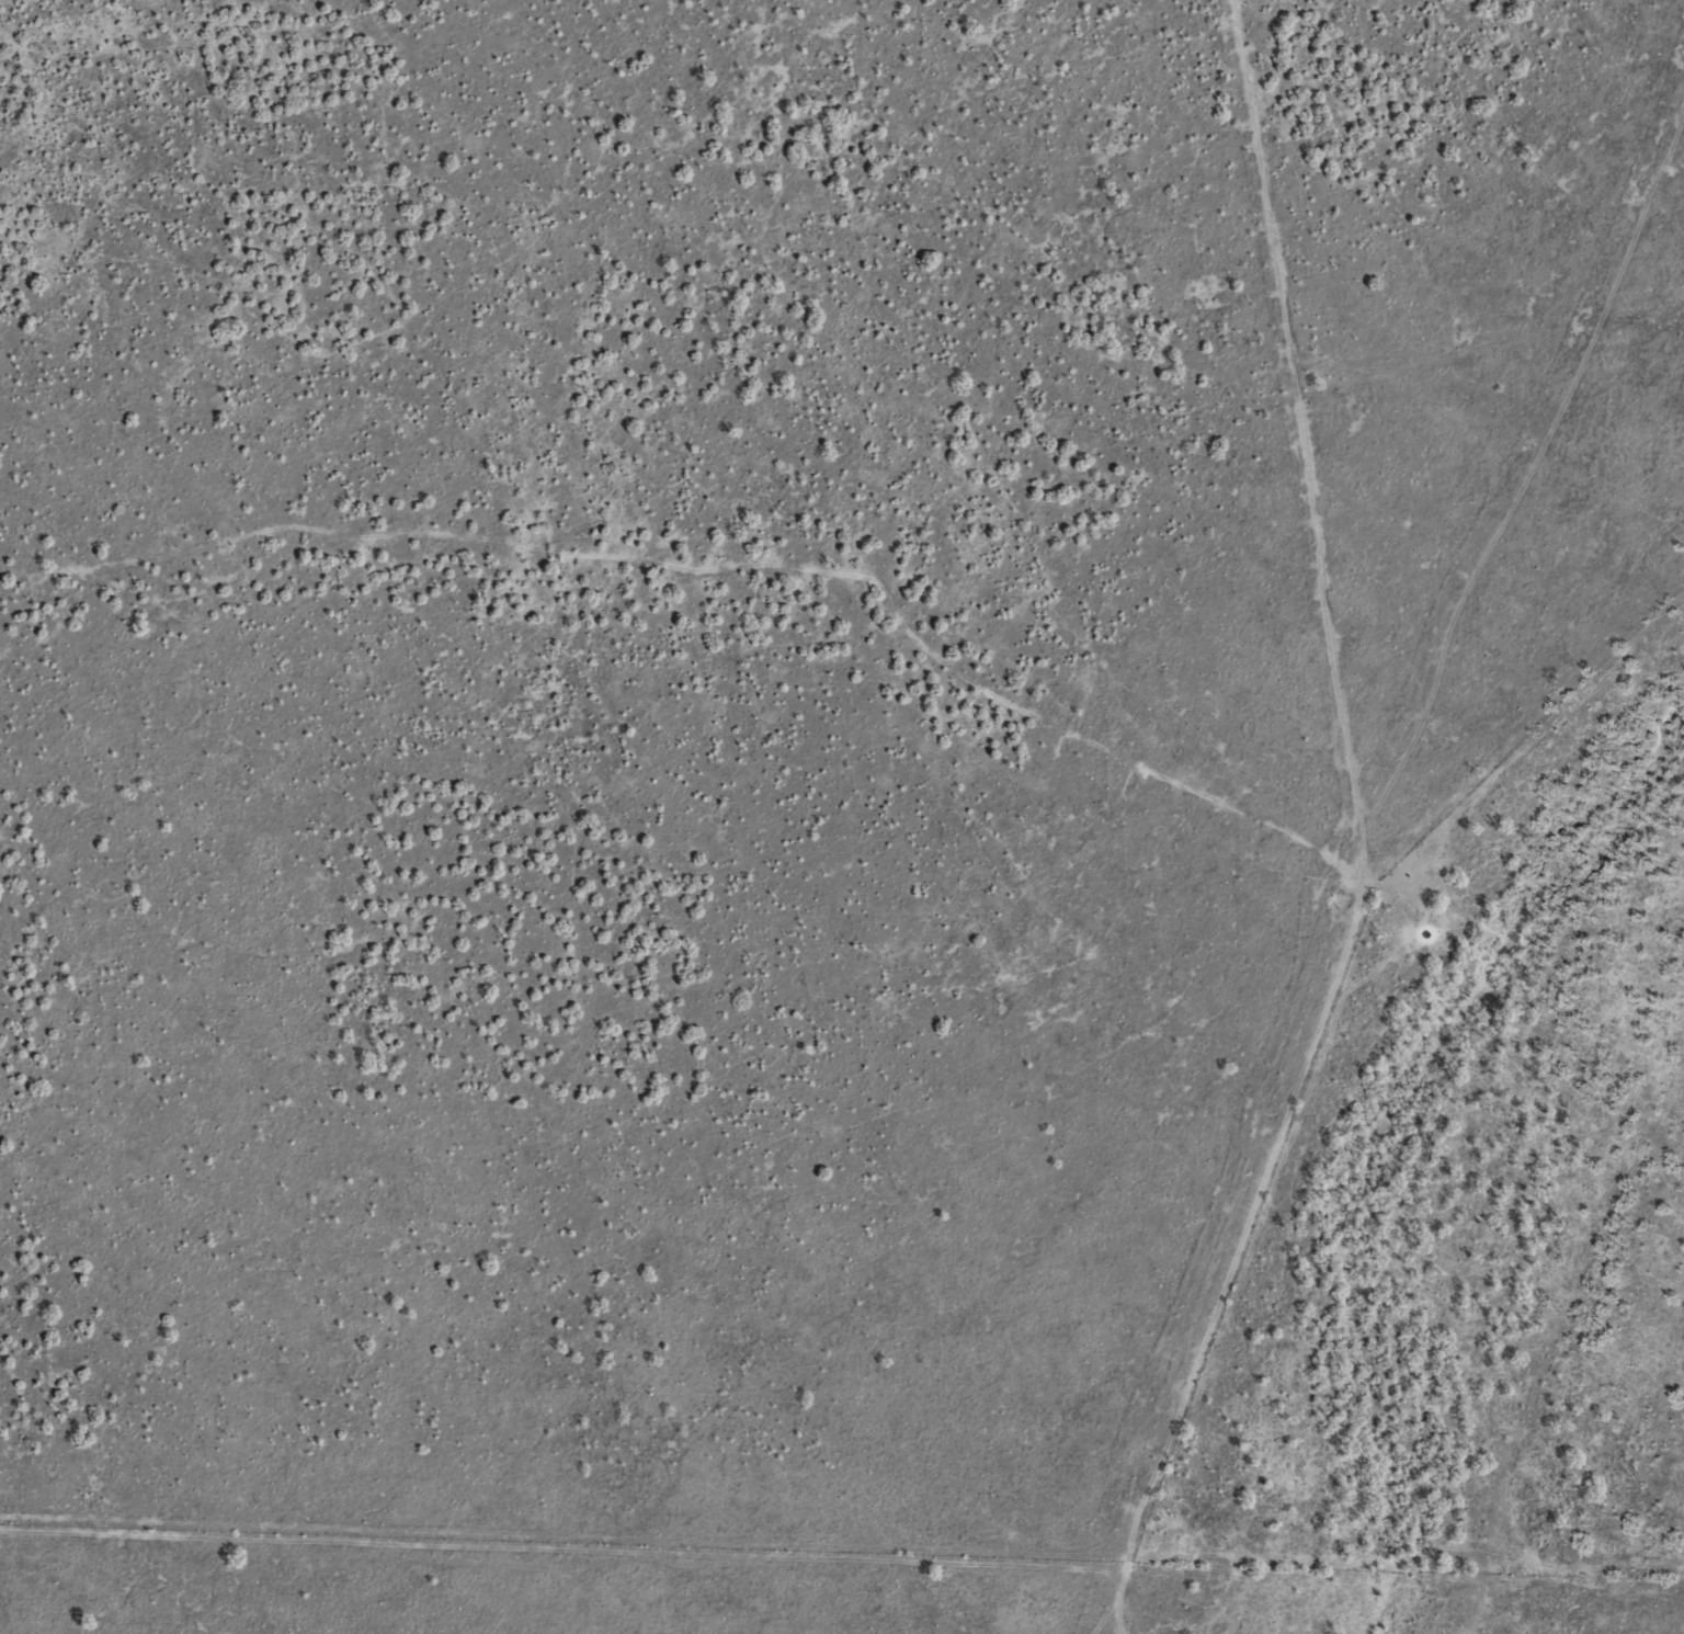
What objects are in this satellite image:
road: (1302, 1051)

